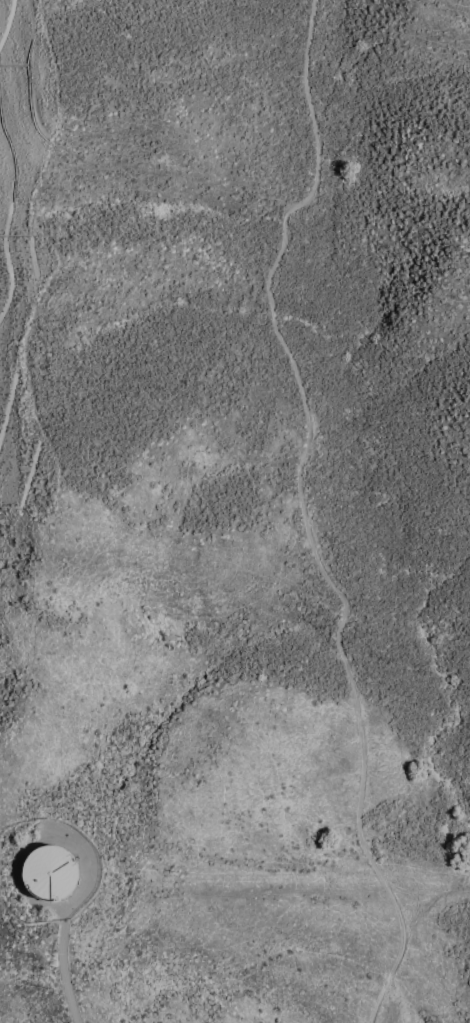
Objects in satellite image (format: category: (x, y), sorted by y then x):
building: (50, 872)
road: (64, 974)

